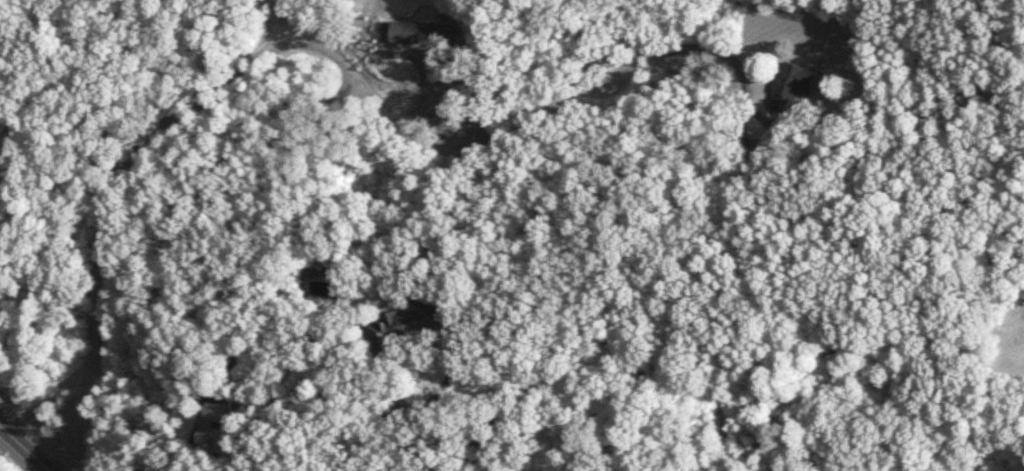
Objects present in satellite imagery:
road: (286, 15)
building: (420, 34)
road: (469, 49)
road: (16, 50)
road: (711, 50)
road: (569, 84)
building: (791, 86)
road: (372, 93)
road: (102, 219)
road: (255, 298)
building: (403, 324)
road: (311, 347)
road: (439, 389)
road: (383, 419)
building: (213, 431)
road: (24, 447)
road: (443, 452)
road: (414, 456)

